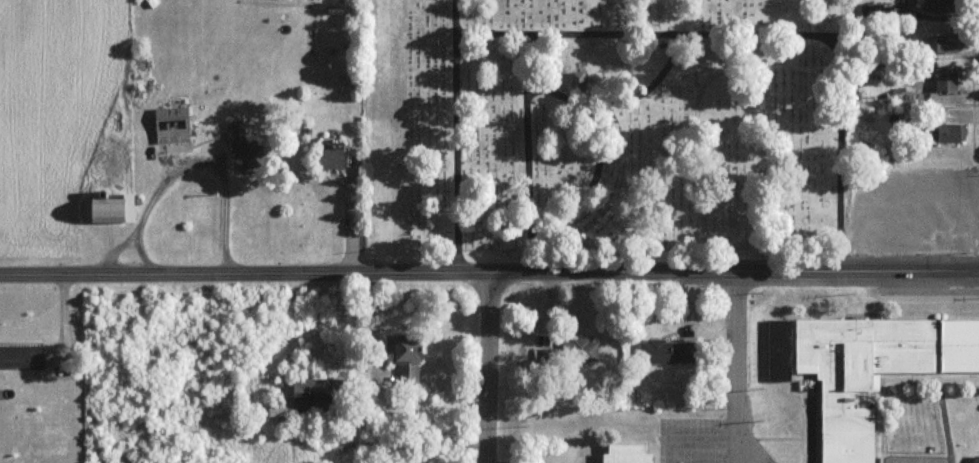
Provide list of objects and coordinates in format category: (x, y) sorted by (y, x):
building: (946, 6)
building: (946, 43)
building: (948, 79)
building: (173, 124)
park: (585, 128)
building: (952, 133)
building: (250, 148)
building: (336, 159)
building: (111, 209)
road: (489, 263)
building: (409, 349)
building: (590, 350)
building: (670, 351)
building: (22, 356)
road: (738, 356)
road: (492, 363)
building: (867, 367)
building: (315, 397)
building: (626, 452)
road: (738, 456)
road: (747, 456)
building: (977, 459)

